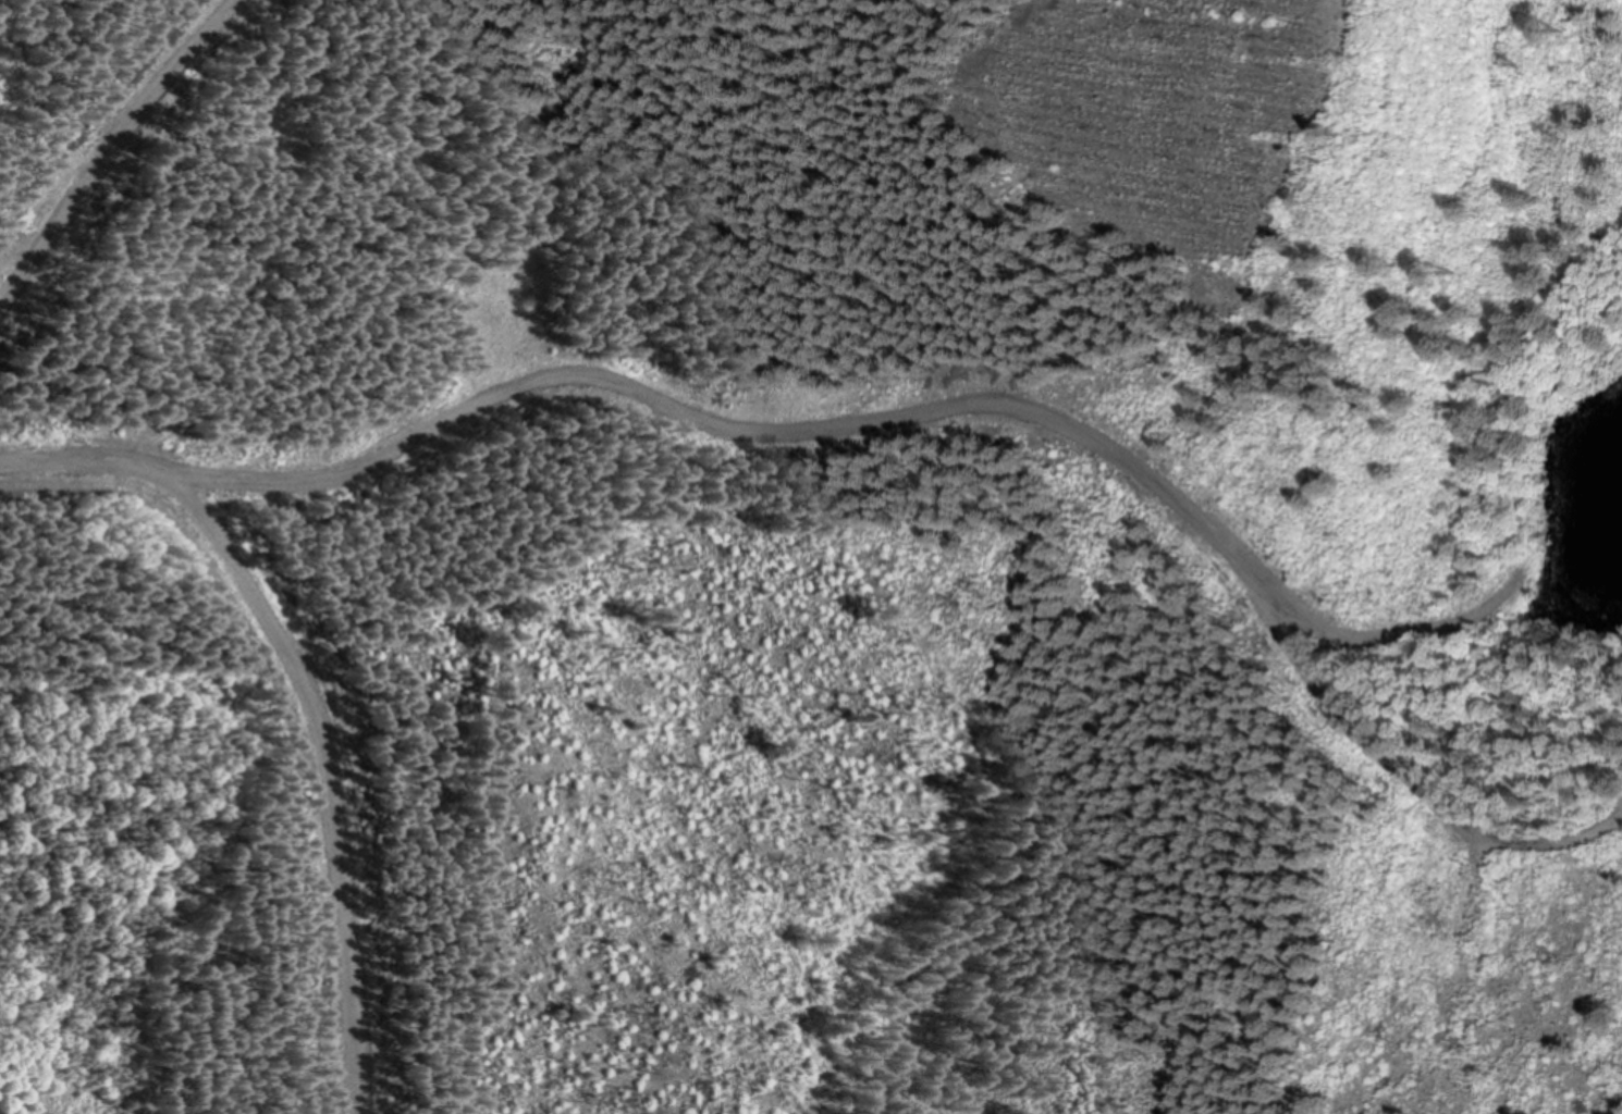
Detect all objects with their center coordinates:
road: (108, 141)
road: (766, 430)
road: (273, 718)
road: (1396, 764)
road: (314, 784)

